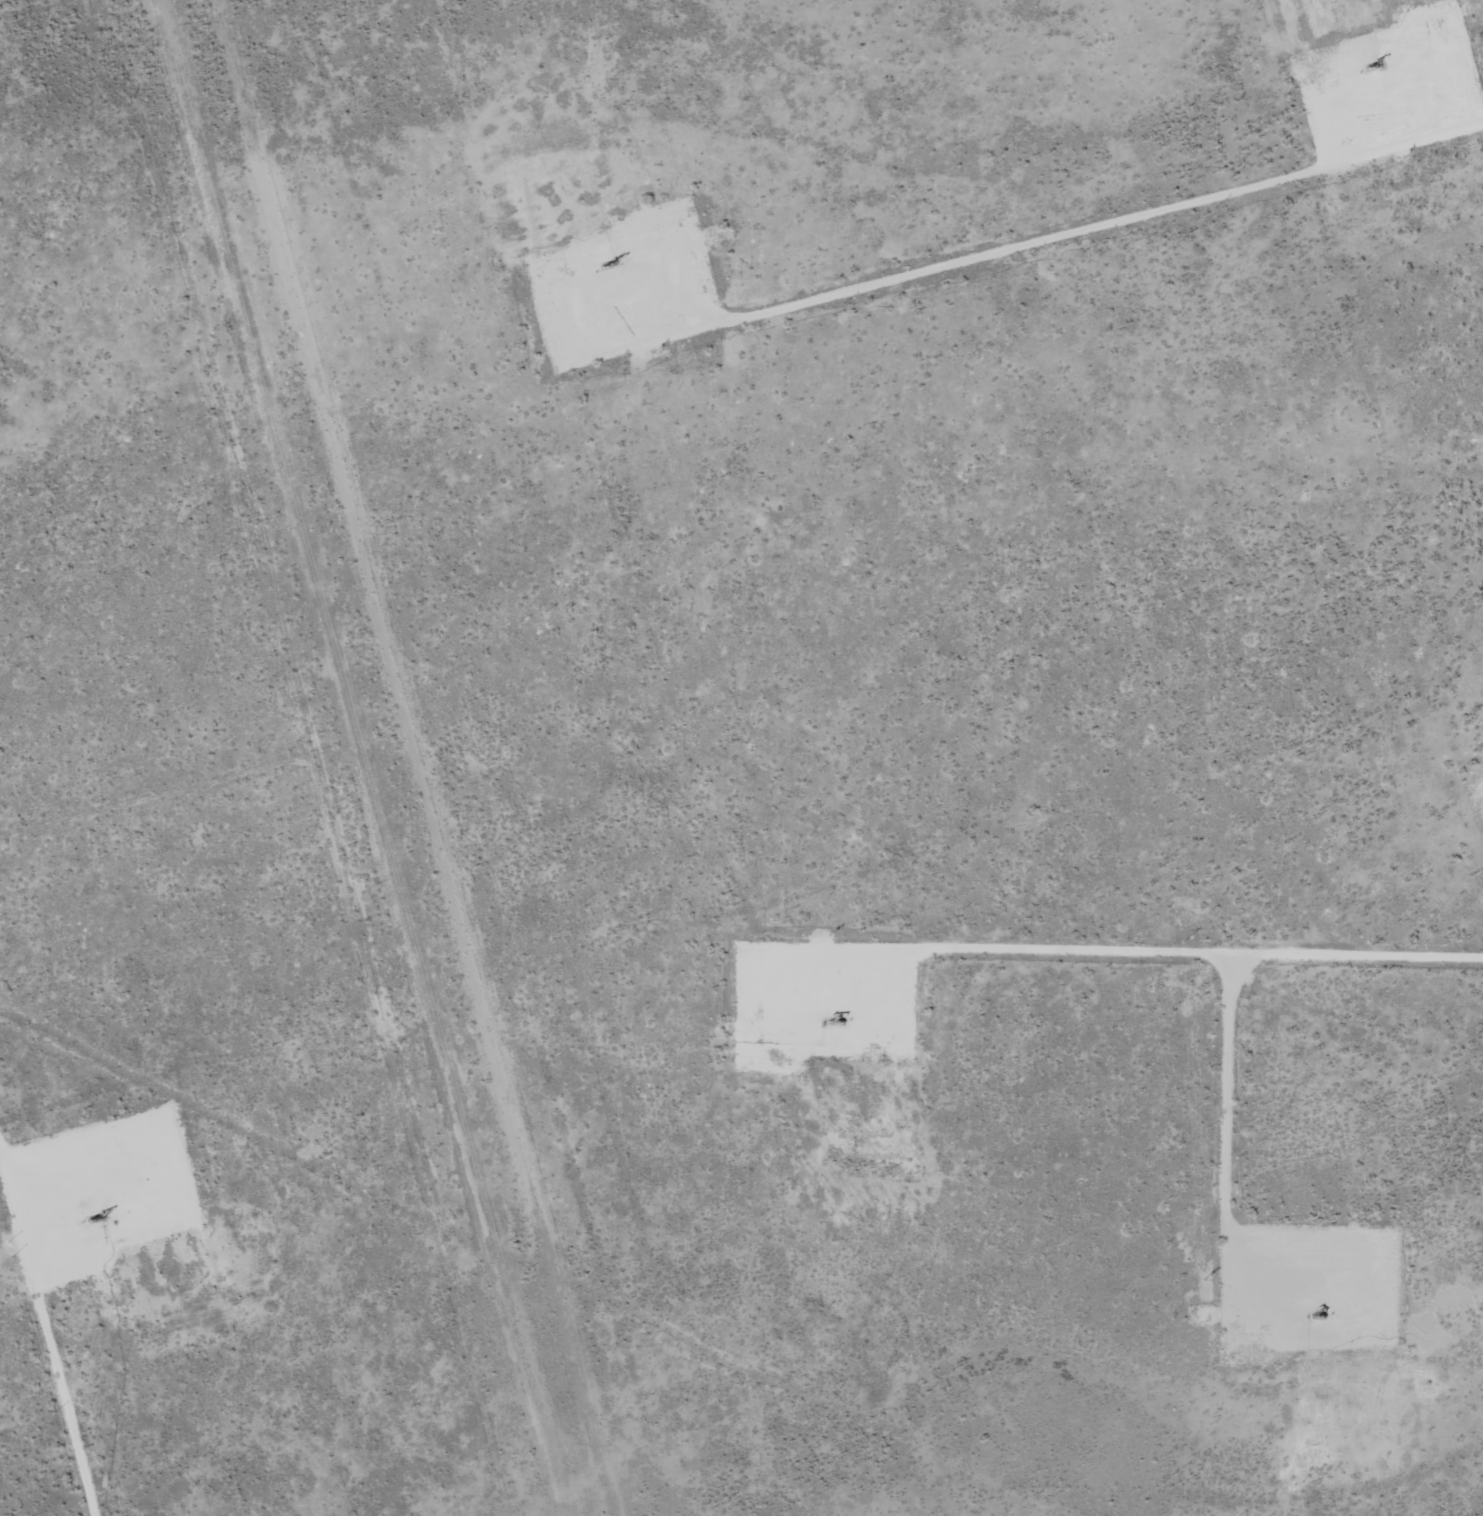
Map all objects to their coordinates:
road: (47, 1346)

